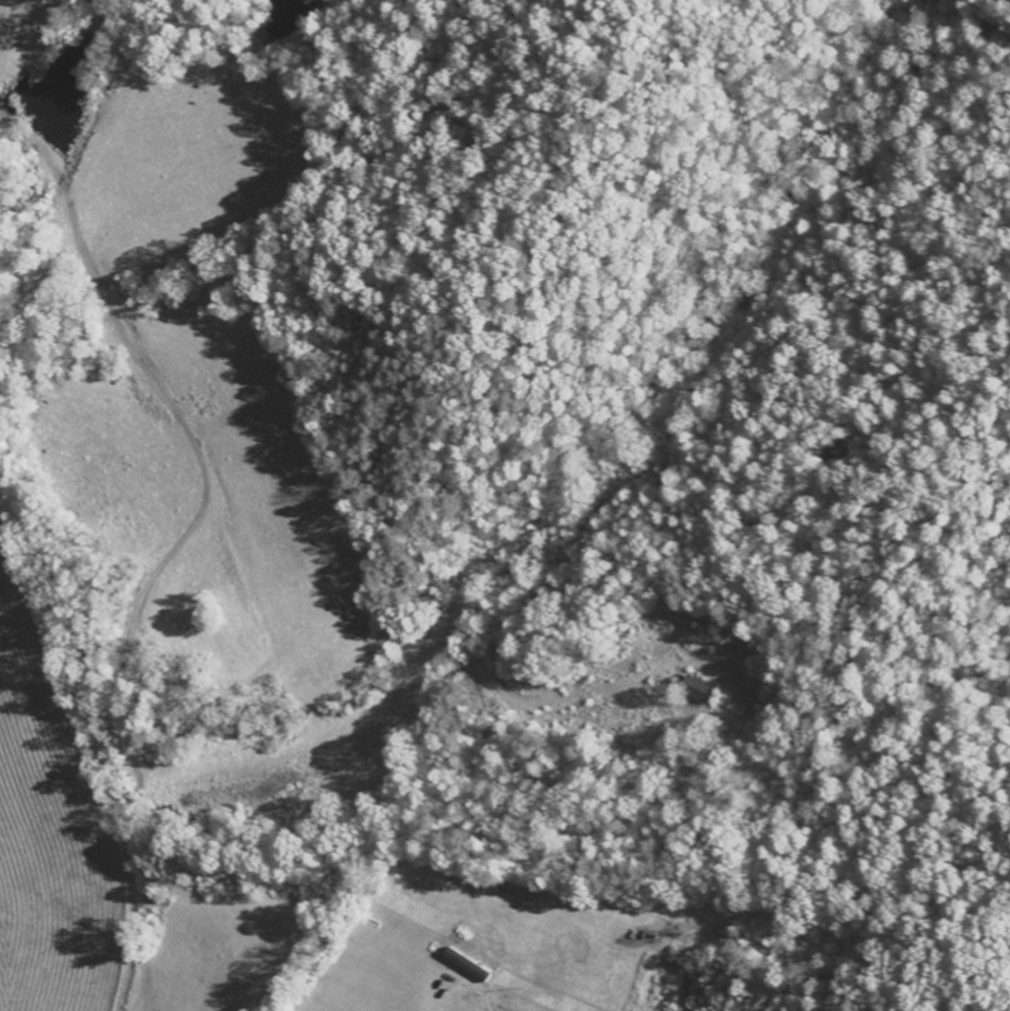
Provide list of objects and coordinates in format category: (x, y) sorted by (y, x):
building: (700, 691)
building: (466, 965)

